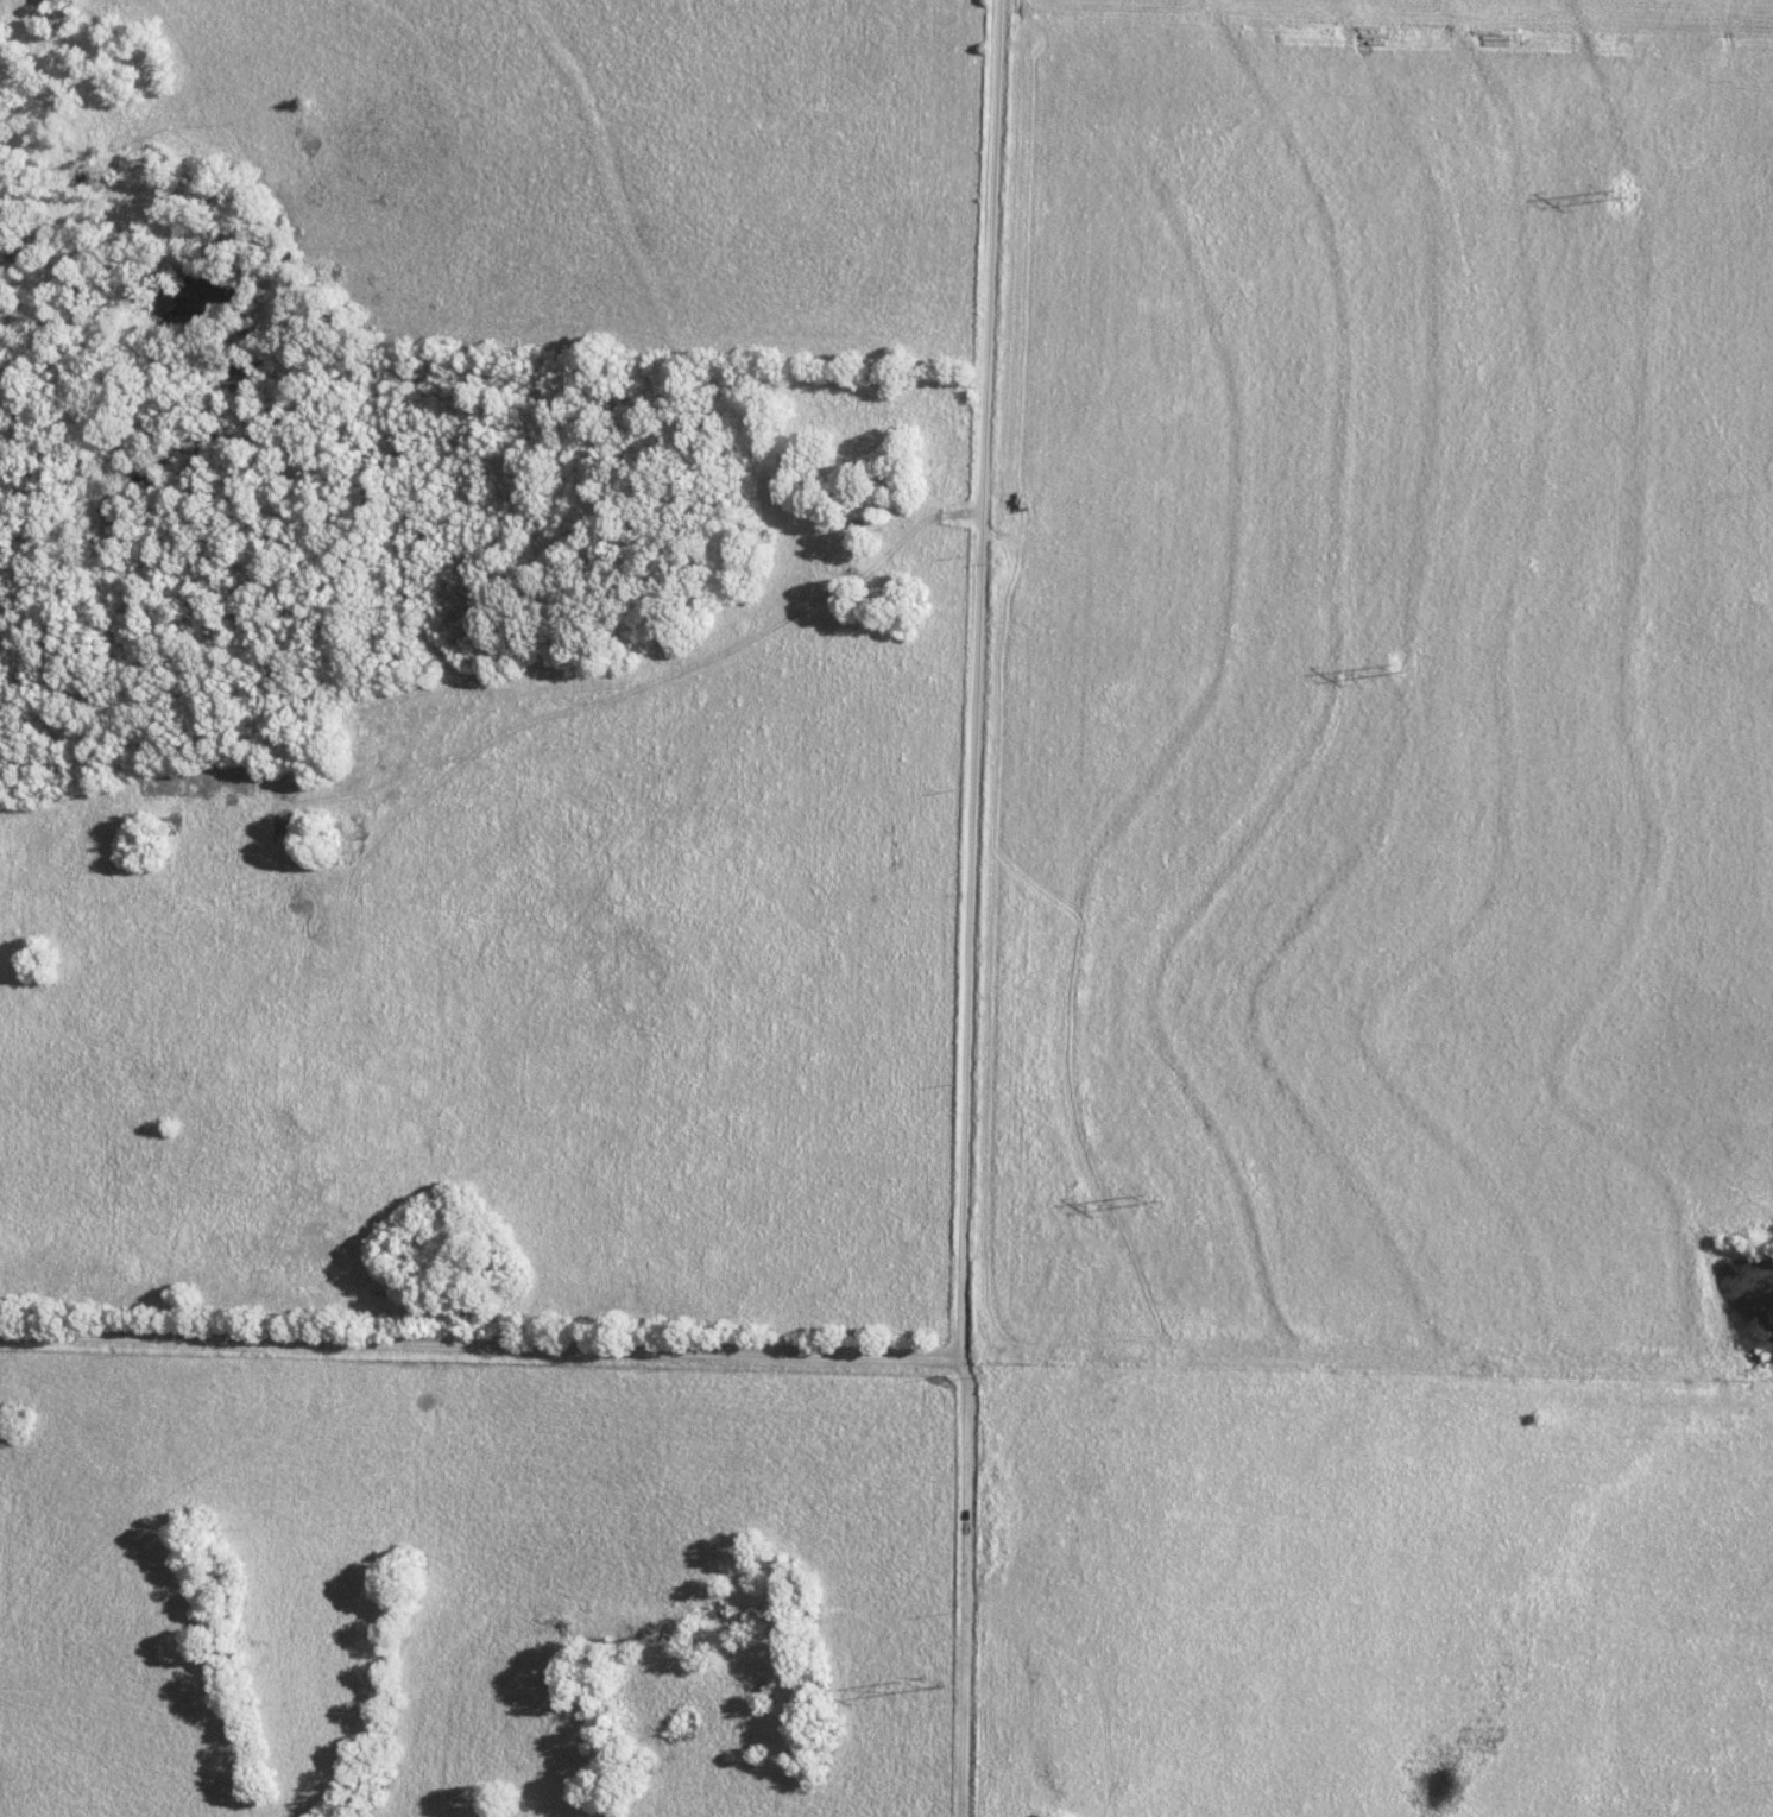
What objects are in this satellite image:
power tower: (1622, 194)
power tower: (1396, 665)
road: (978, 908)
power tower: (1149, 1197)
road: (481, 1349)
power tower: (930, 1677)

